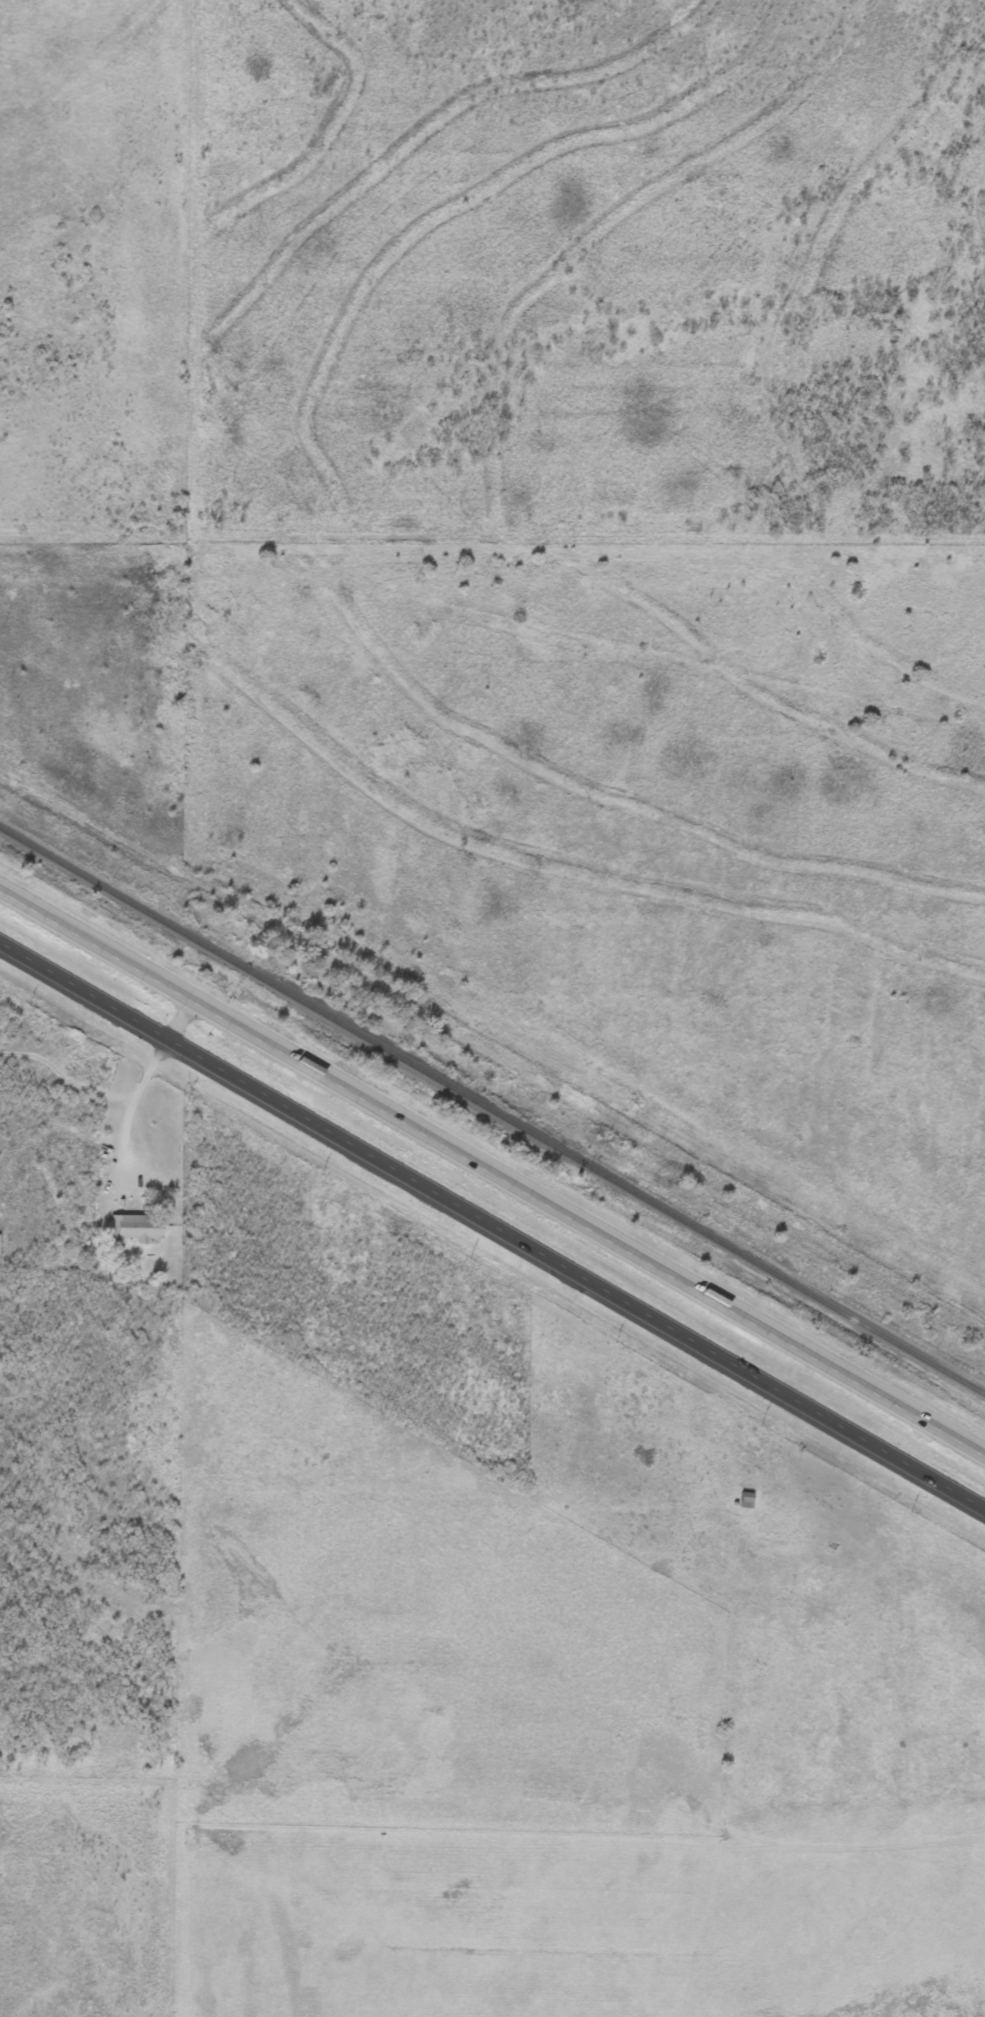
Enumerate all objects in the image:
railway: (491, 1113)
road: (492, 1174)
road: (492, 1225)
building: (138, 1228)
building: (744, 1501)

